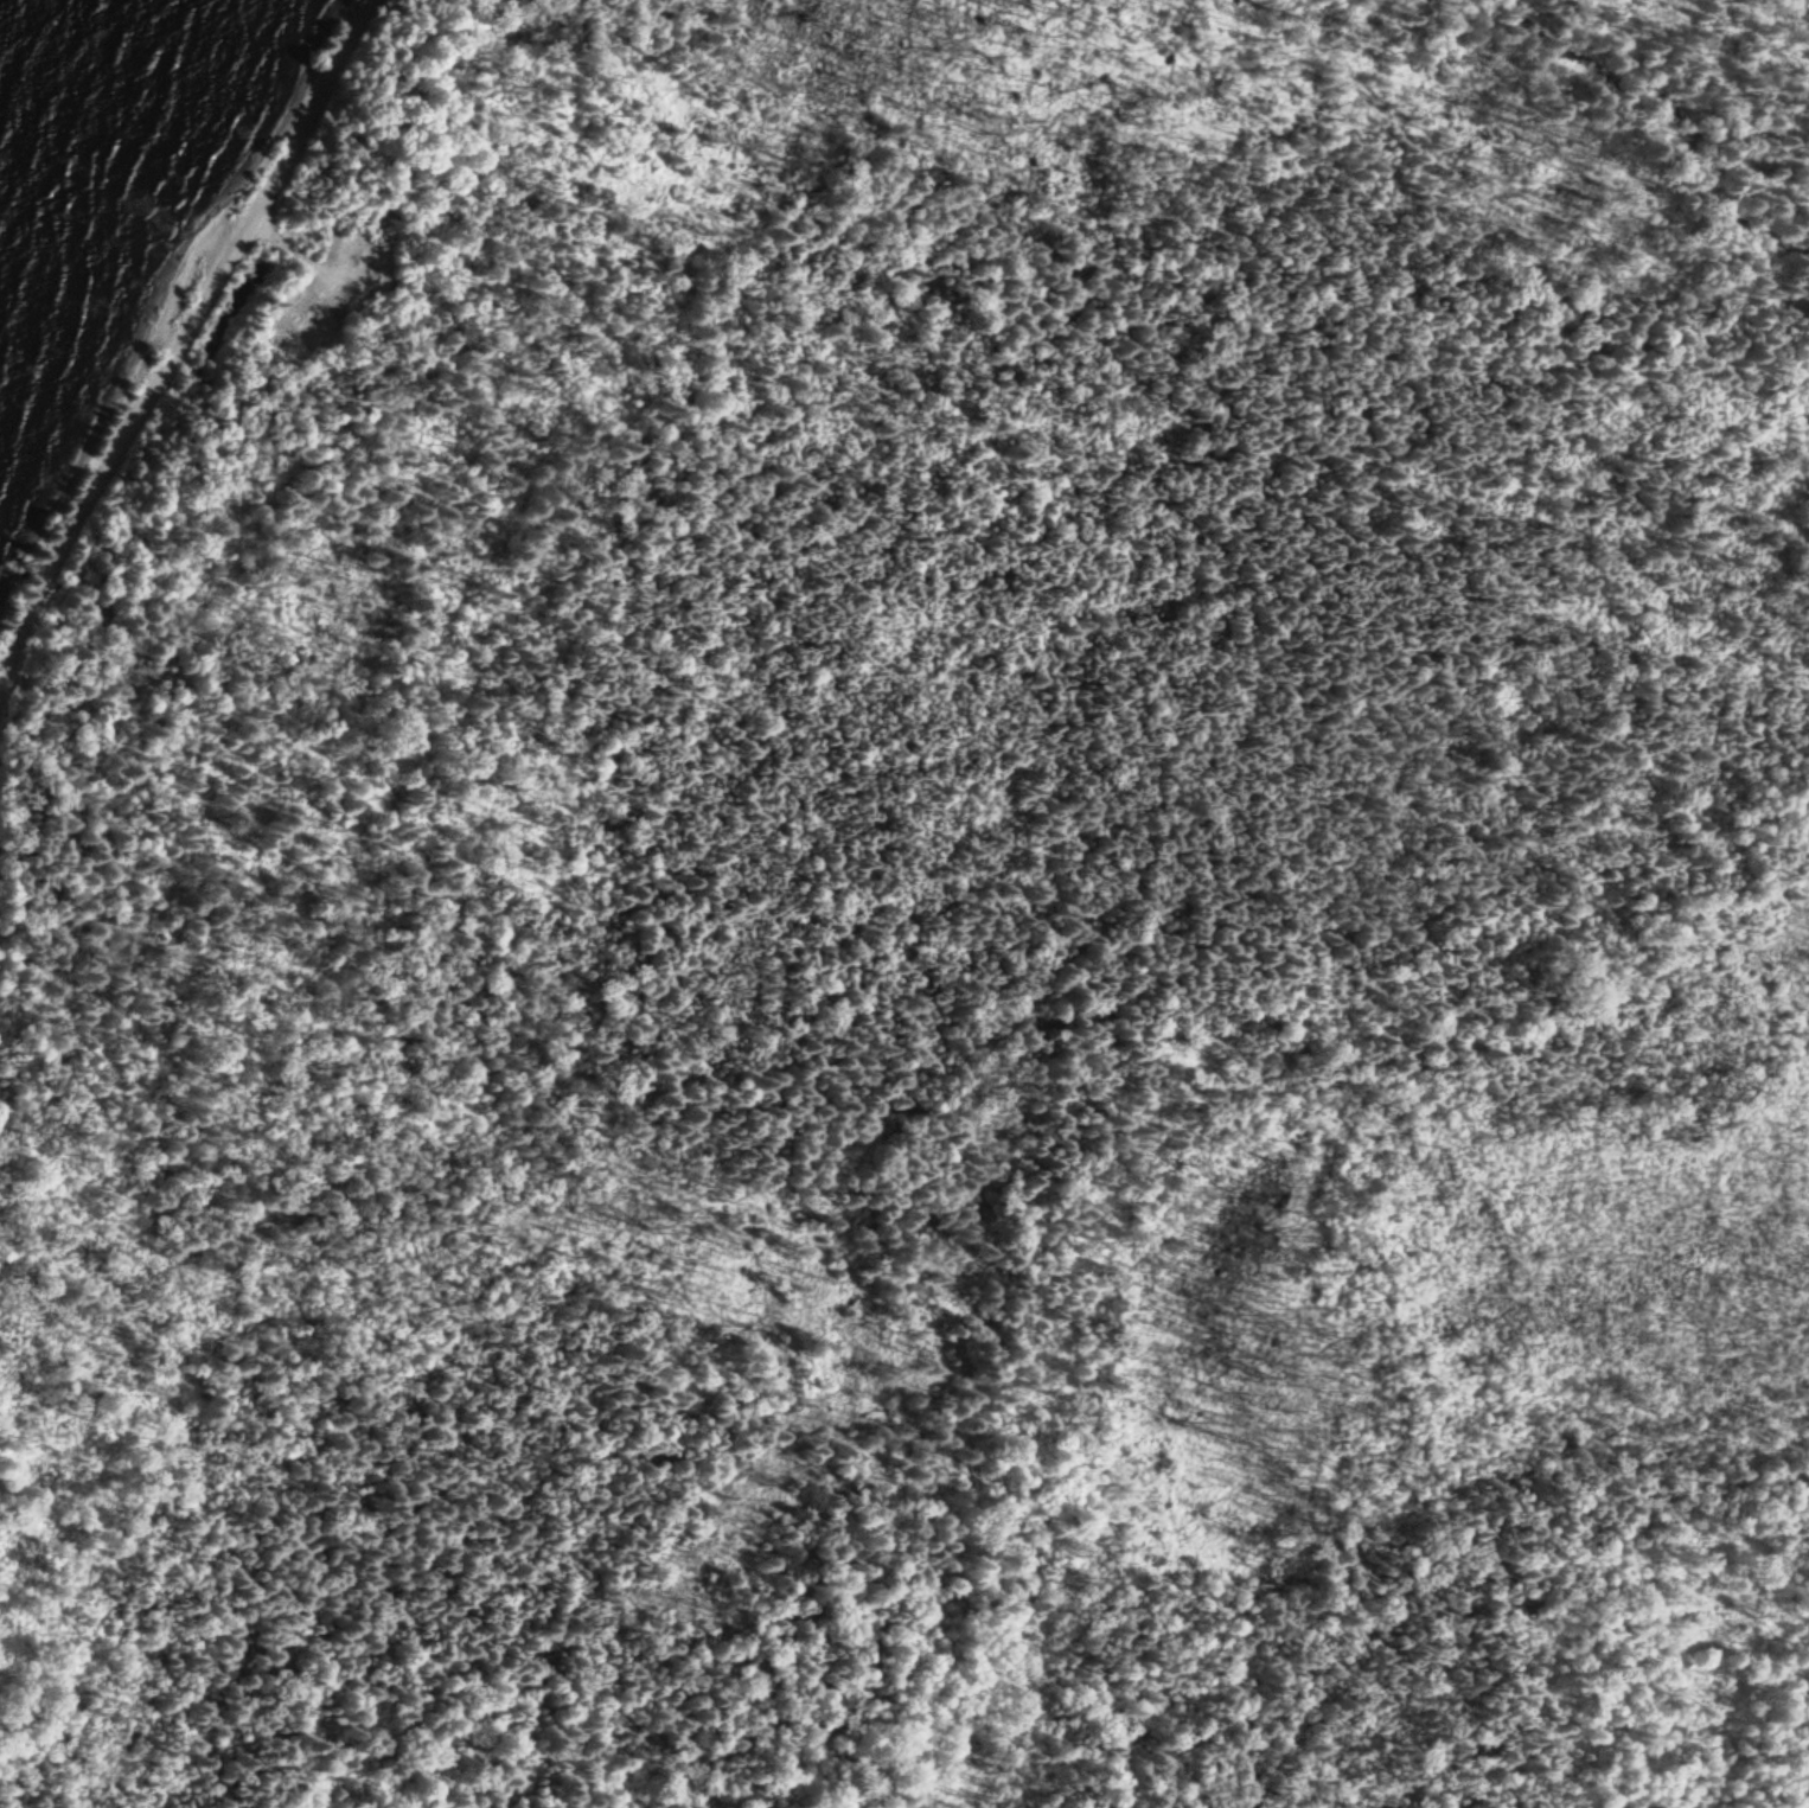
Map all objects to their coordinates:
road: (289, 250)
parking lot: (337, 290)
road: (180, 337)
park: (909, 908)
road: (1166, 1170)

